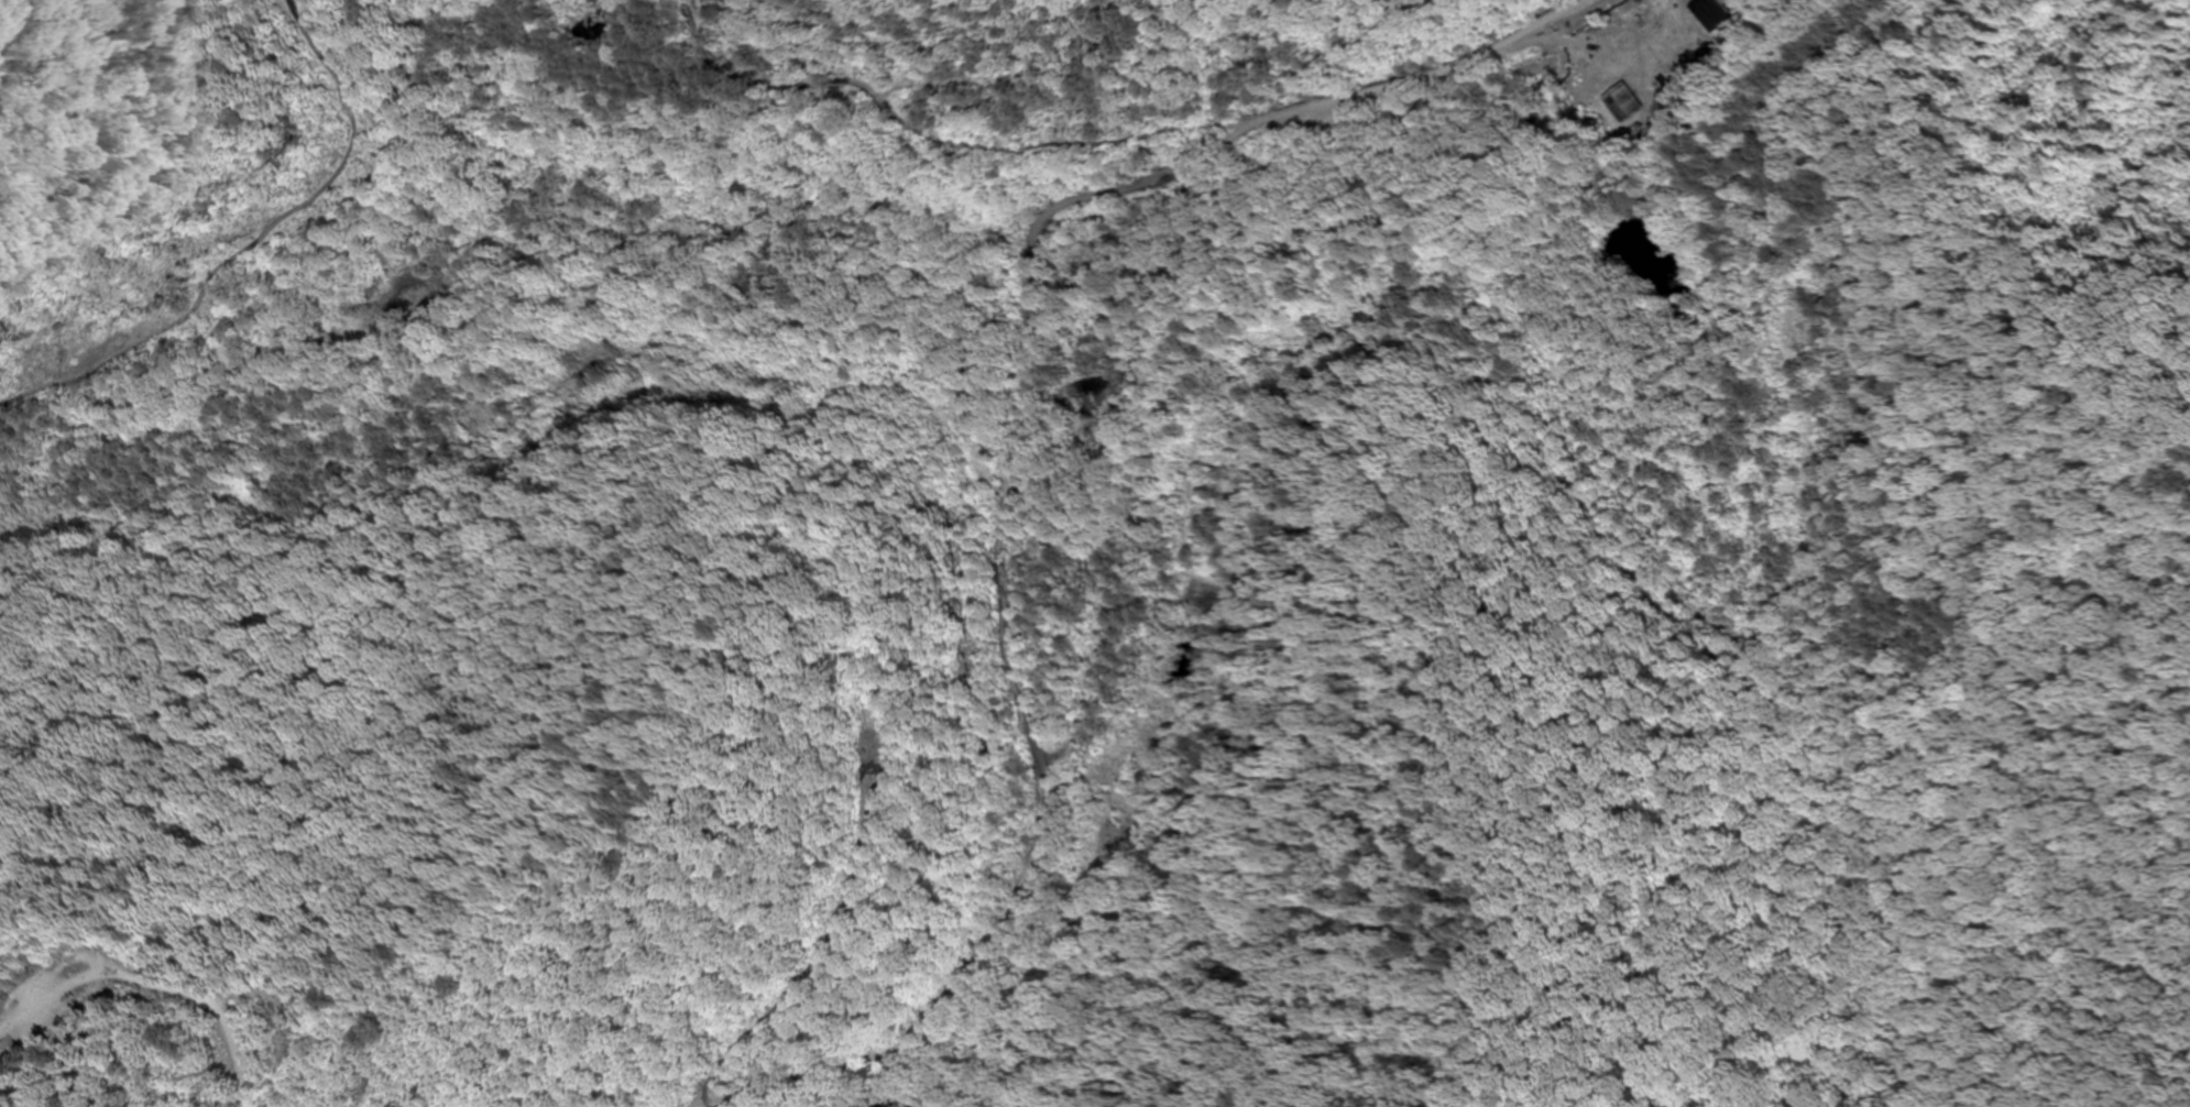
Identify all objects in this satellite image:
building: (1711, 14)
building: (1619, 24)
road: (1454, 72)
building: (1625, 102)

